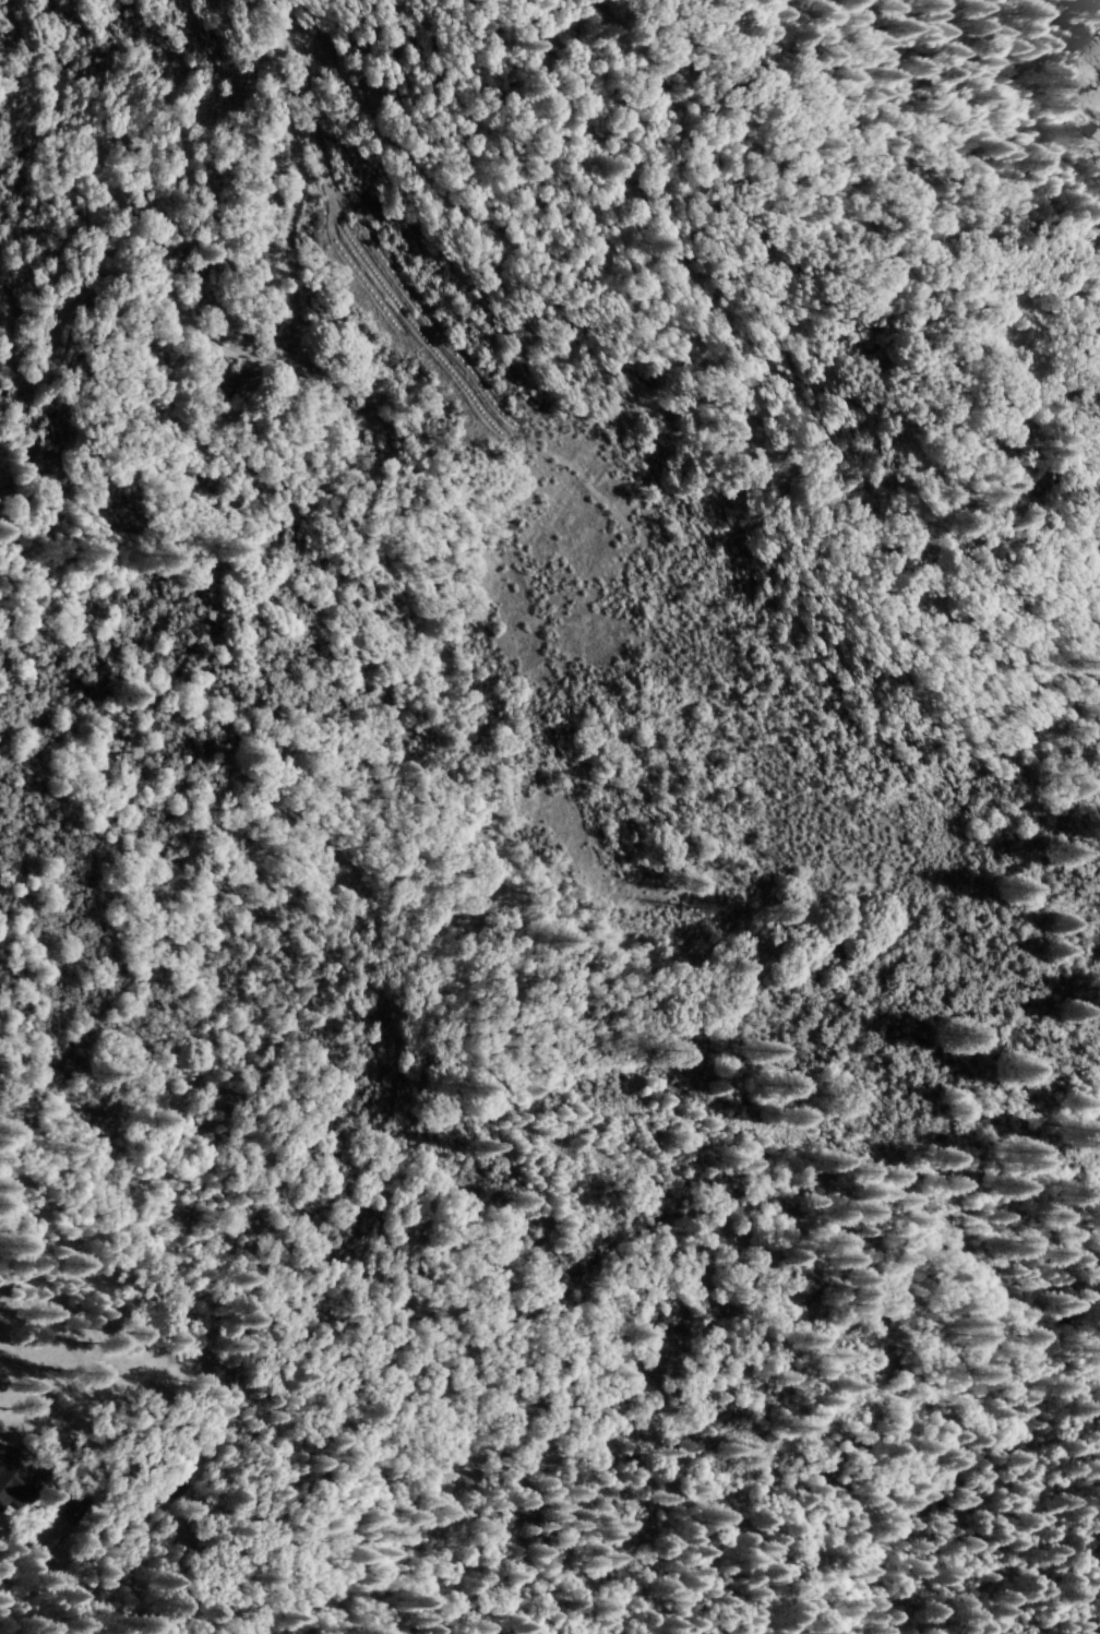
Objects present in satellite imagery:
road: (589, 282)
building: (15, 1484)
building: (187, 1489)
building: (76, 1508)

